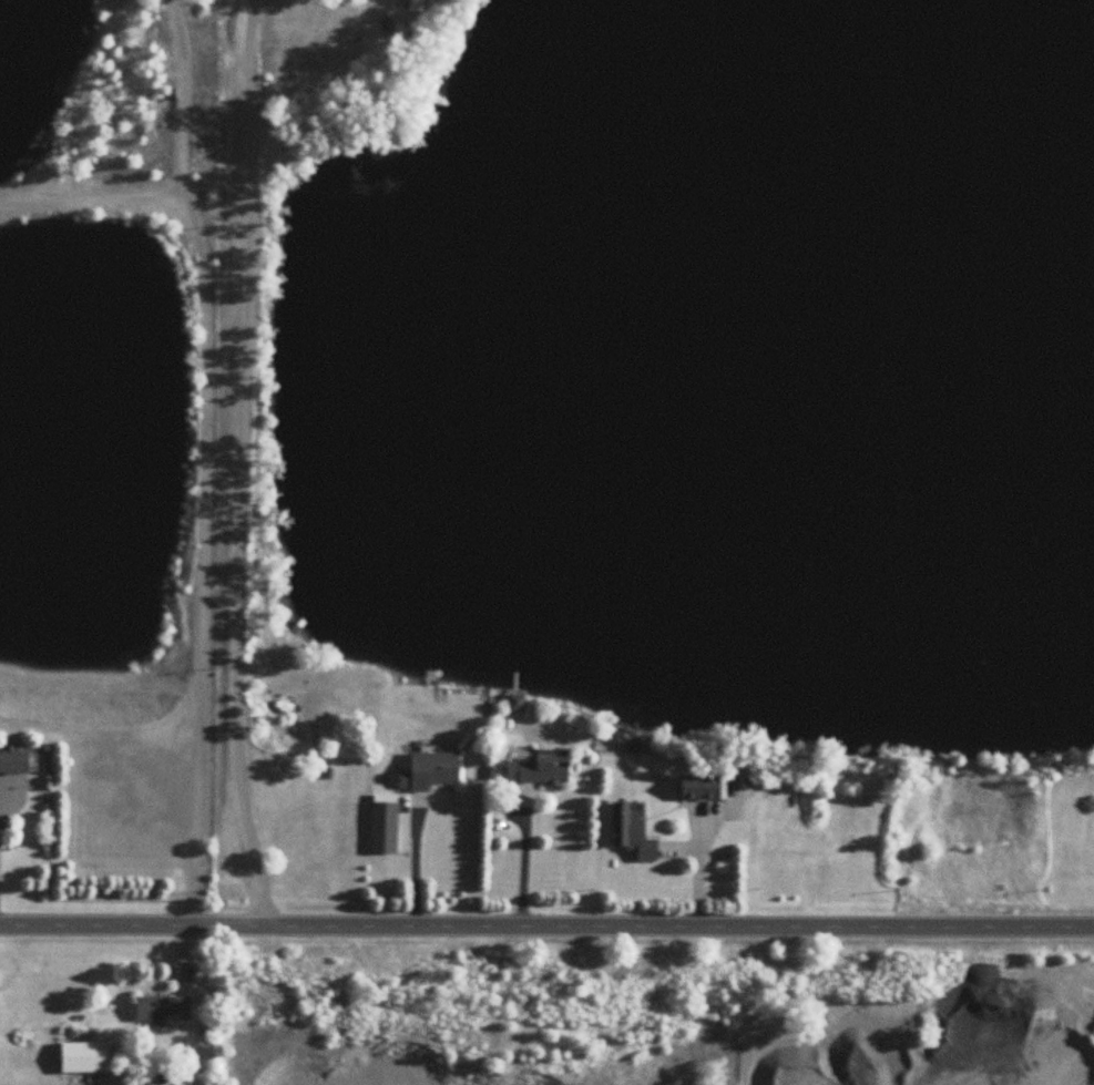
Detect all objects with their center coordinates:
road: (206, 461)
road: (241, 464)
building: (14, 762)
building: (539, 767)
building: (433, 770)
building: (701, 786)
building: (633, 833)
road: (524, 862)
road: (416, 868)
road: (546, 927)
building: (164, 1009)

